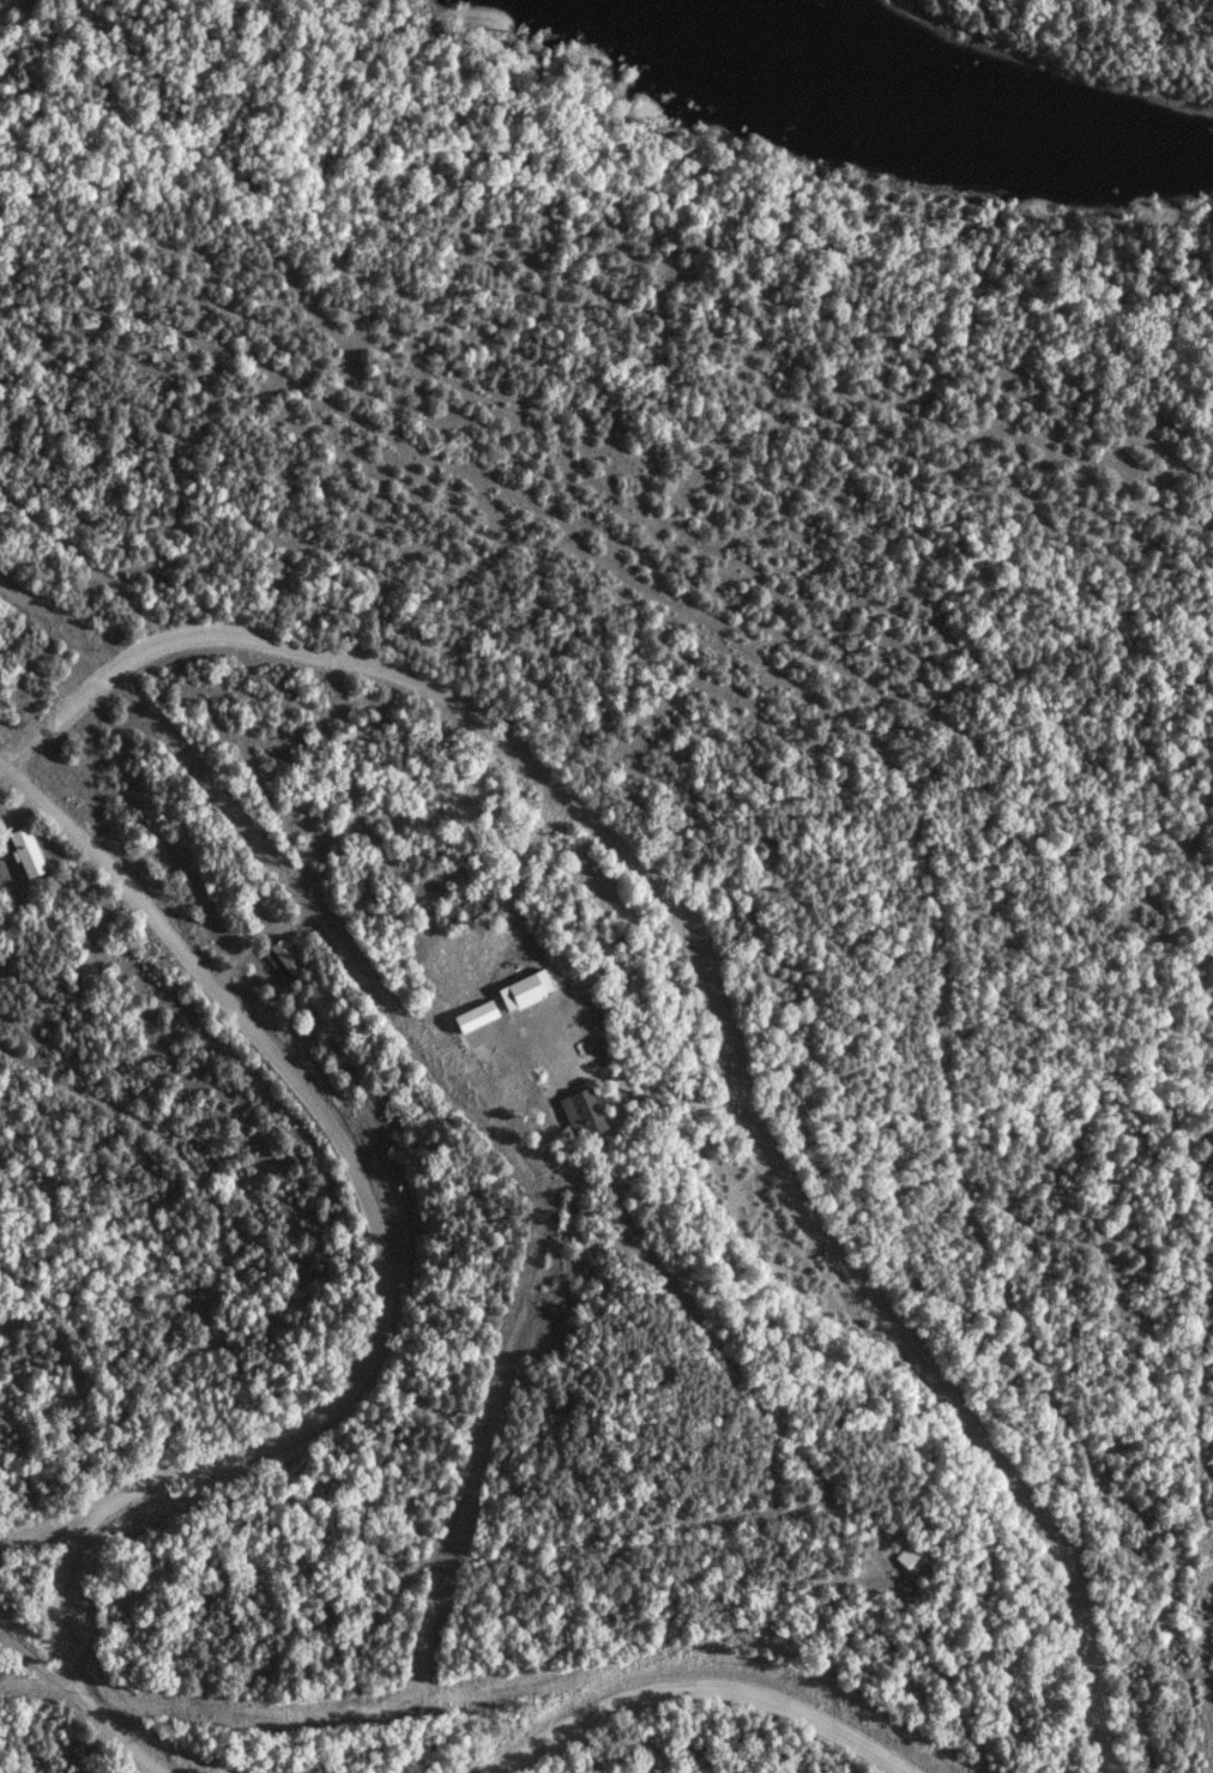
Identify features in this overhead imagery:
building: (29, 851)
road: (712, 988)
building: (527, 989)
building: (586, 1111)
road: (10, 1174)
road: (363, 1205)
building: (909, 1556)
road: (58, 1593)
road: (700, 1685)
road: (85, 1696)

